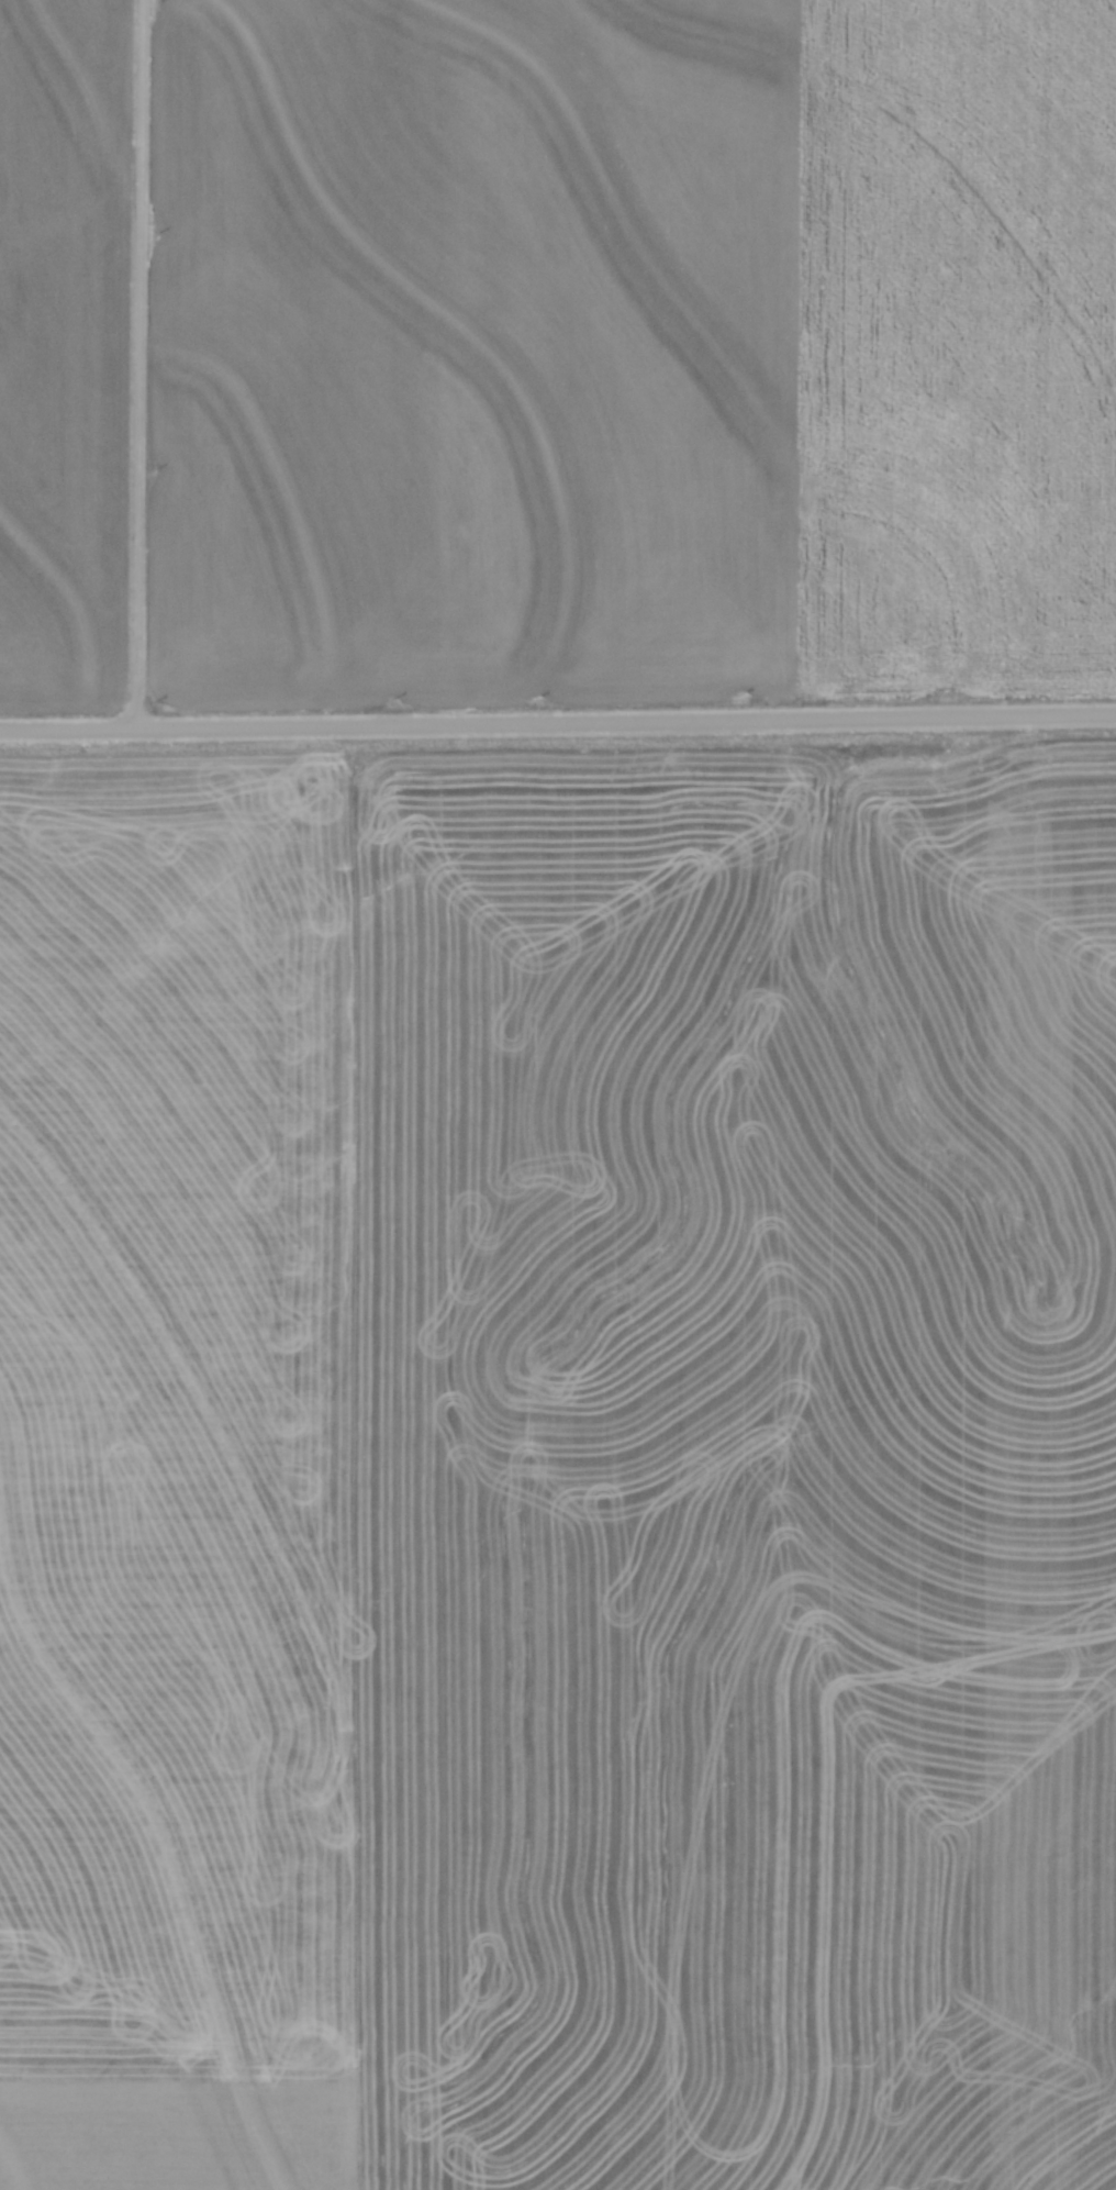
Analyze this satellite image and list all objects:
road: (143, 364)
road: (557, 723)

